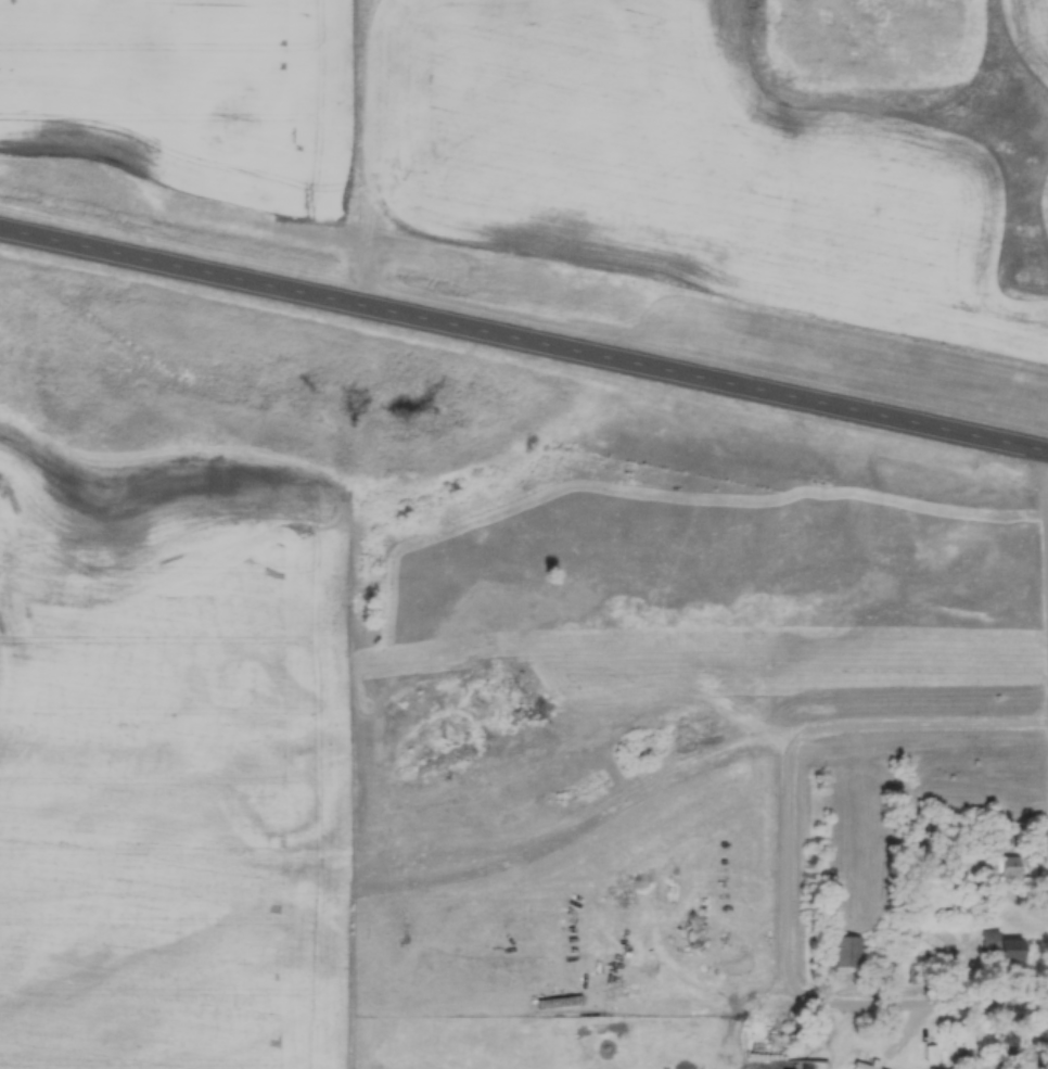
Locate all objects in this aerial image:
road: (524, 342)
road: (711, 753)
building: (1000, 866)
building: (997, 946)
building: (844, 951)
road: (796, 988)
building: (1001, 1048)
building: (862, 1065)
building: (785, 1068)

